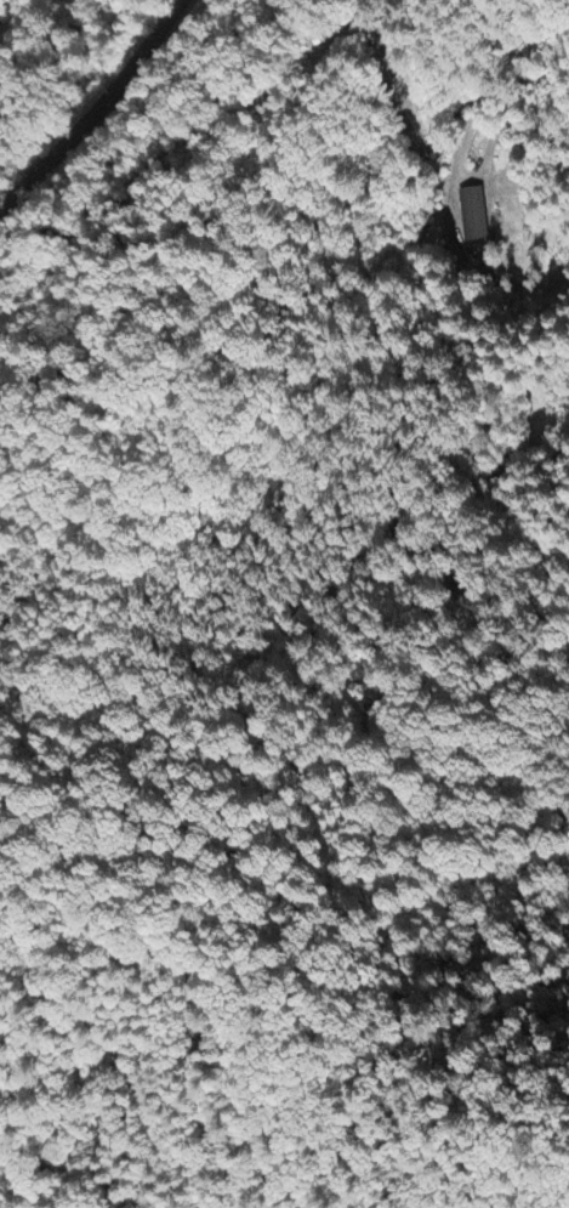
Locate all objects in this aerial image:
road: (89, 102)
building: (474, 217)

